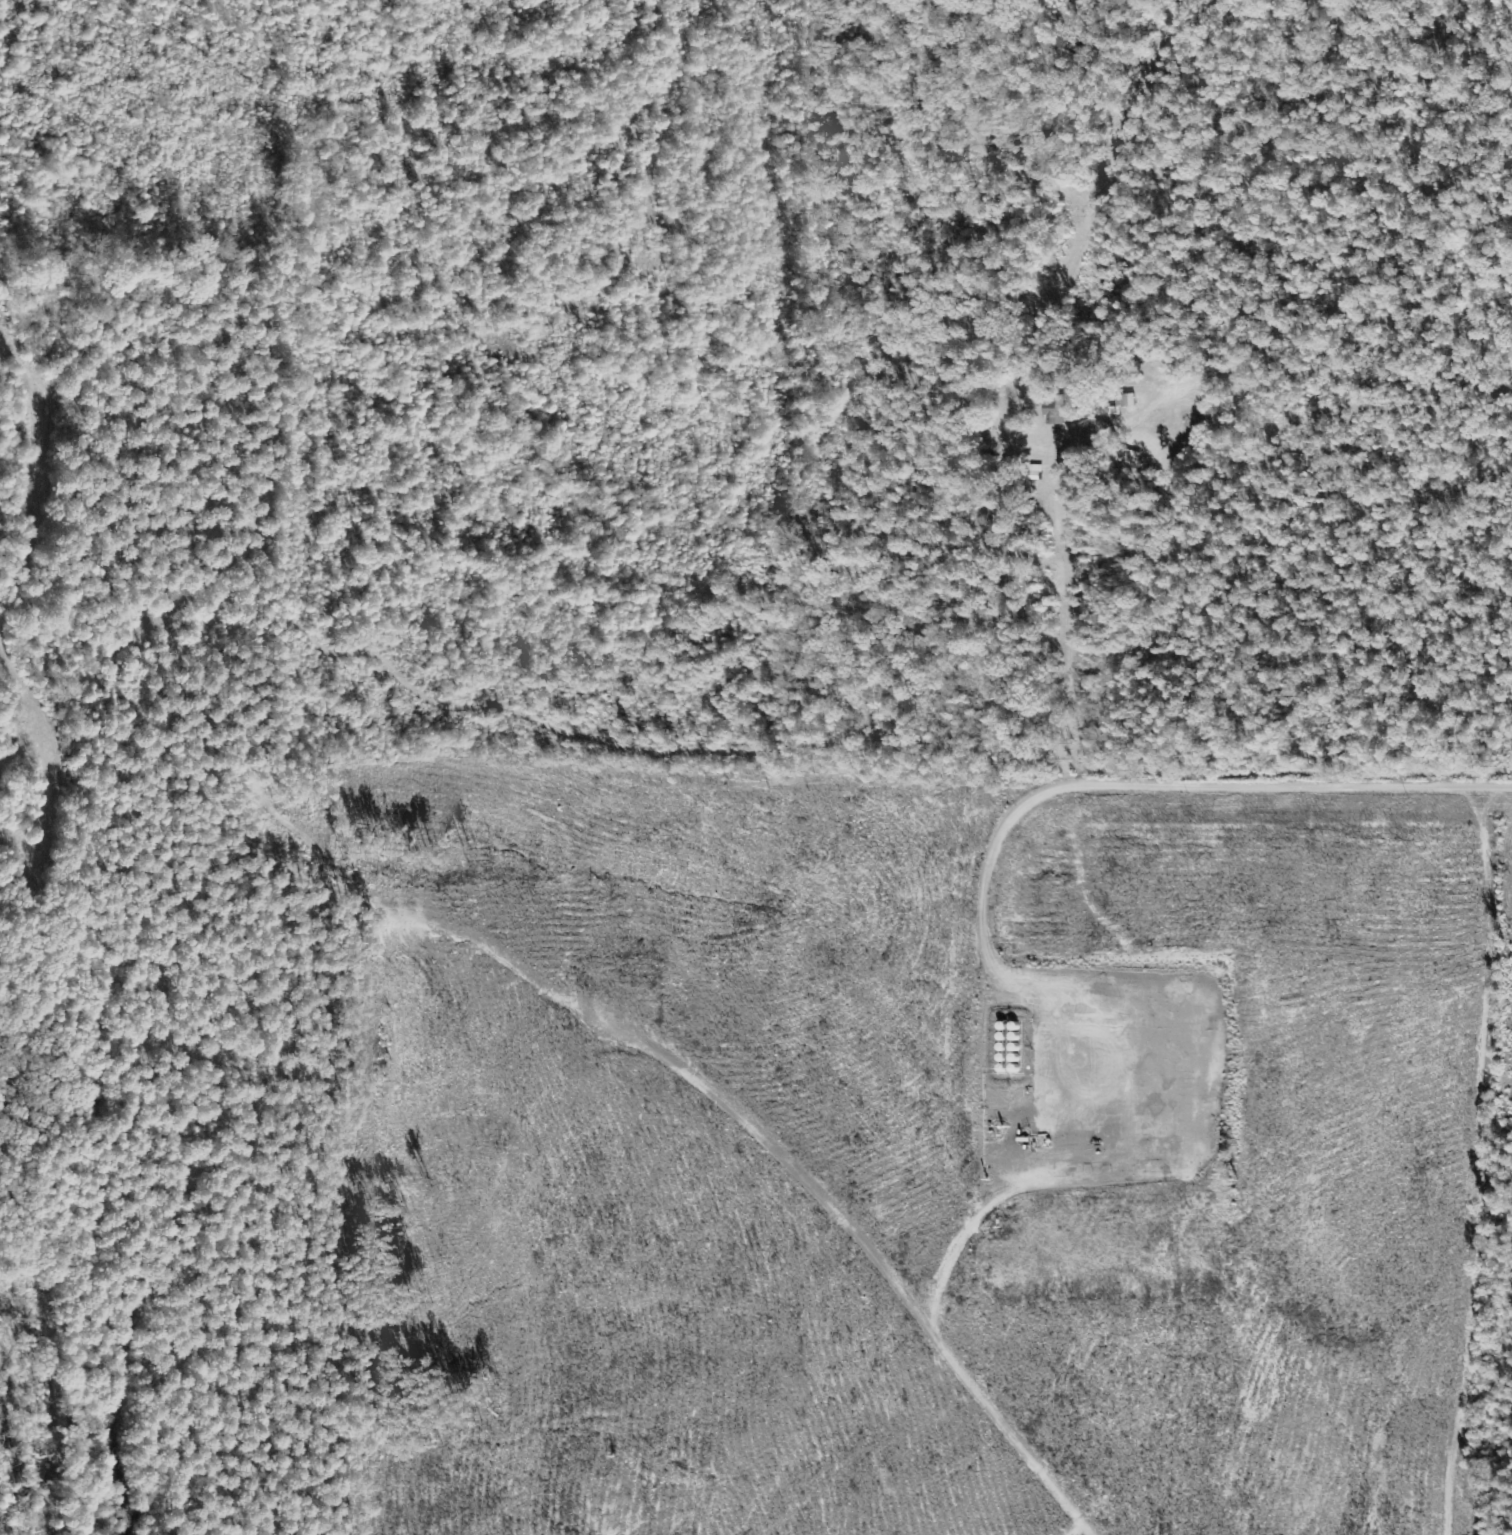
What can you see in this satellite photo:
building: (1127, 399)

